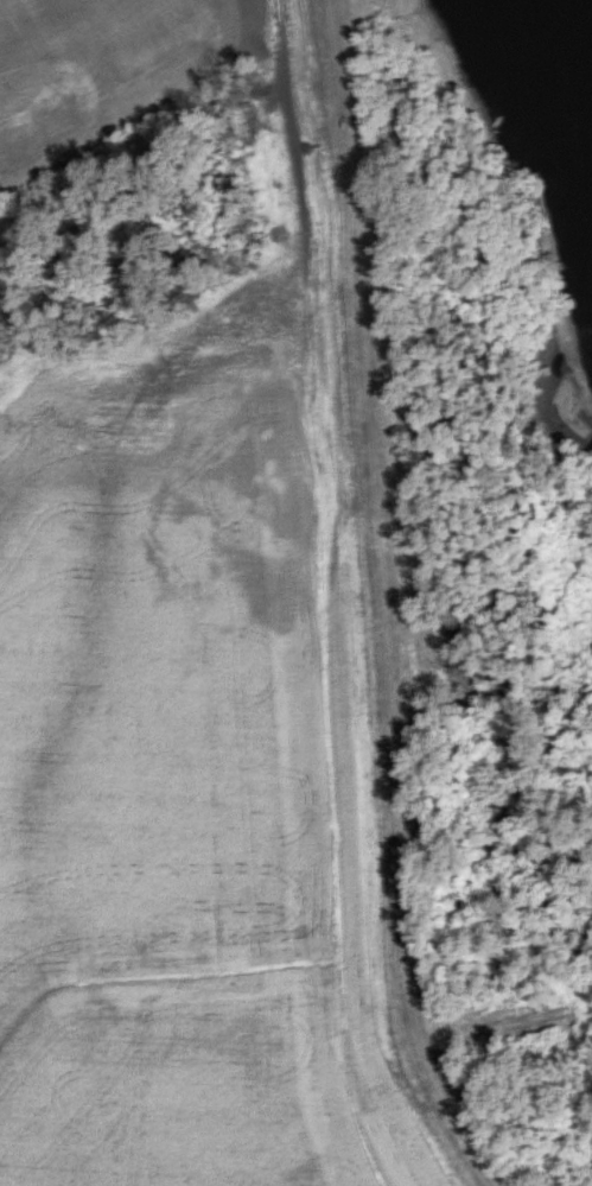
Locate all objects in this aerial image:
crop: (110, 64)
road: (384, 601)
crop: (185, 762)

